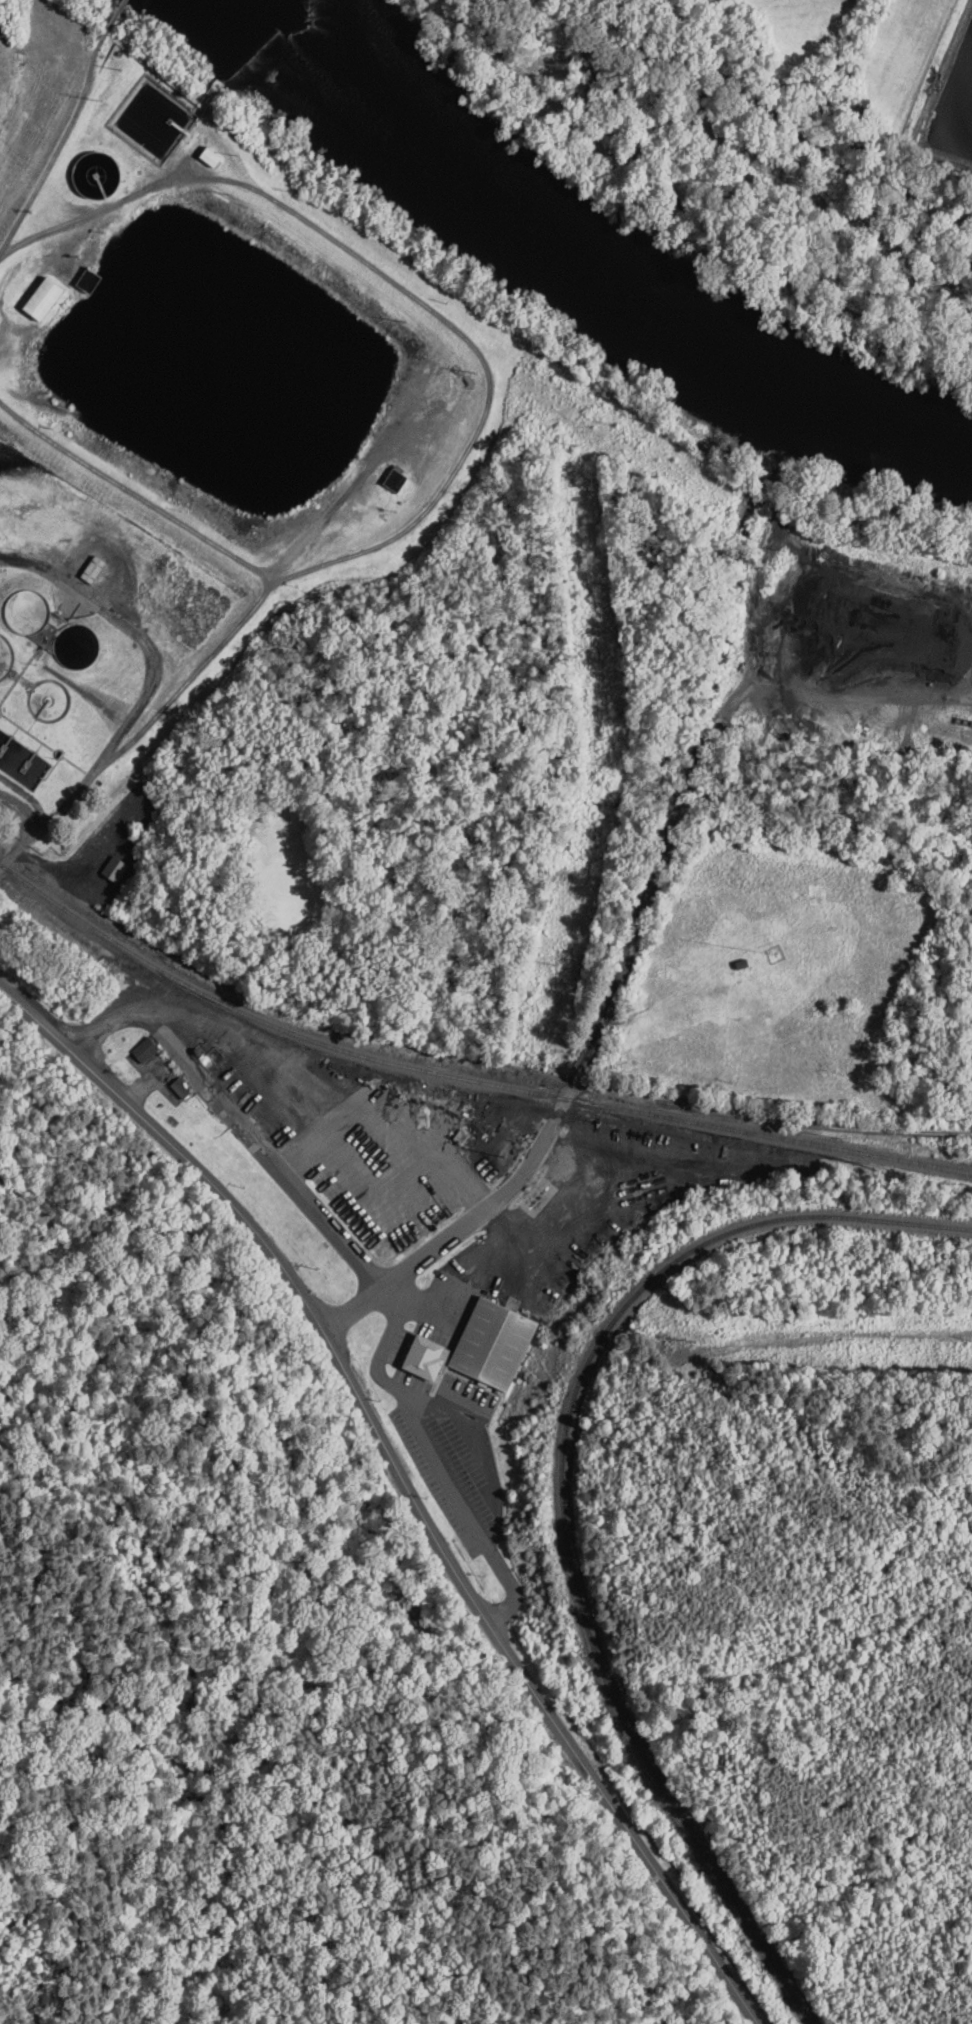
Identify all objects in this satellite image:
road: (104, 23)
river: (235, 29)
power tower: (103, 97)
road: (760, 101)
road: (56, 150)
river: (421, 176)
power tower: (233, 192)
road: (685, 208)
power tower: (409, 320)
power tower: (479, 370)
river: (761, 384)
power tower: (577, 444)
road: (139, 696)
power tower: (613, 764)
power tower: (557, 967)
railway: (464, 1077)
road: (753, 1116)
power tower: (504, 1153)
road: (301, 1193)
road: (452, 1238)
power tower: (696, 1340)
road: (405, 1482)
railway: (570, 1503)

